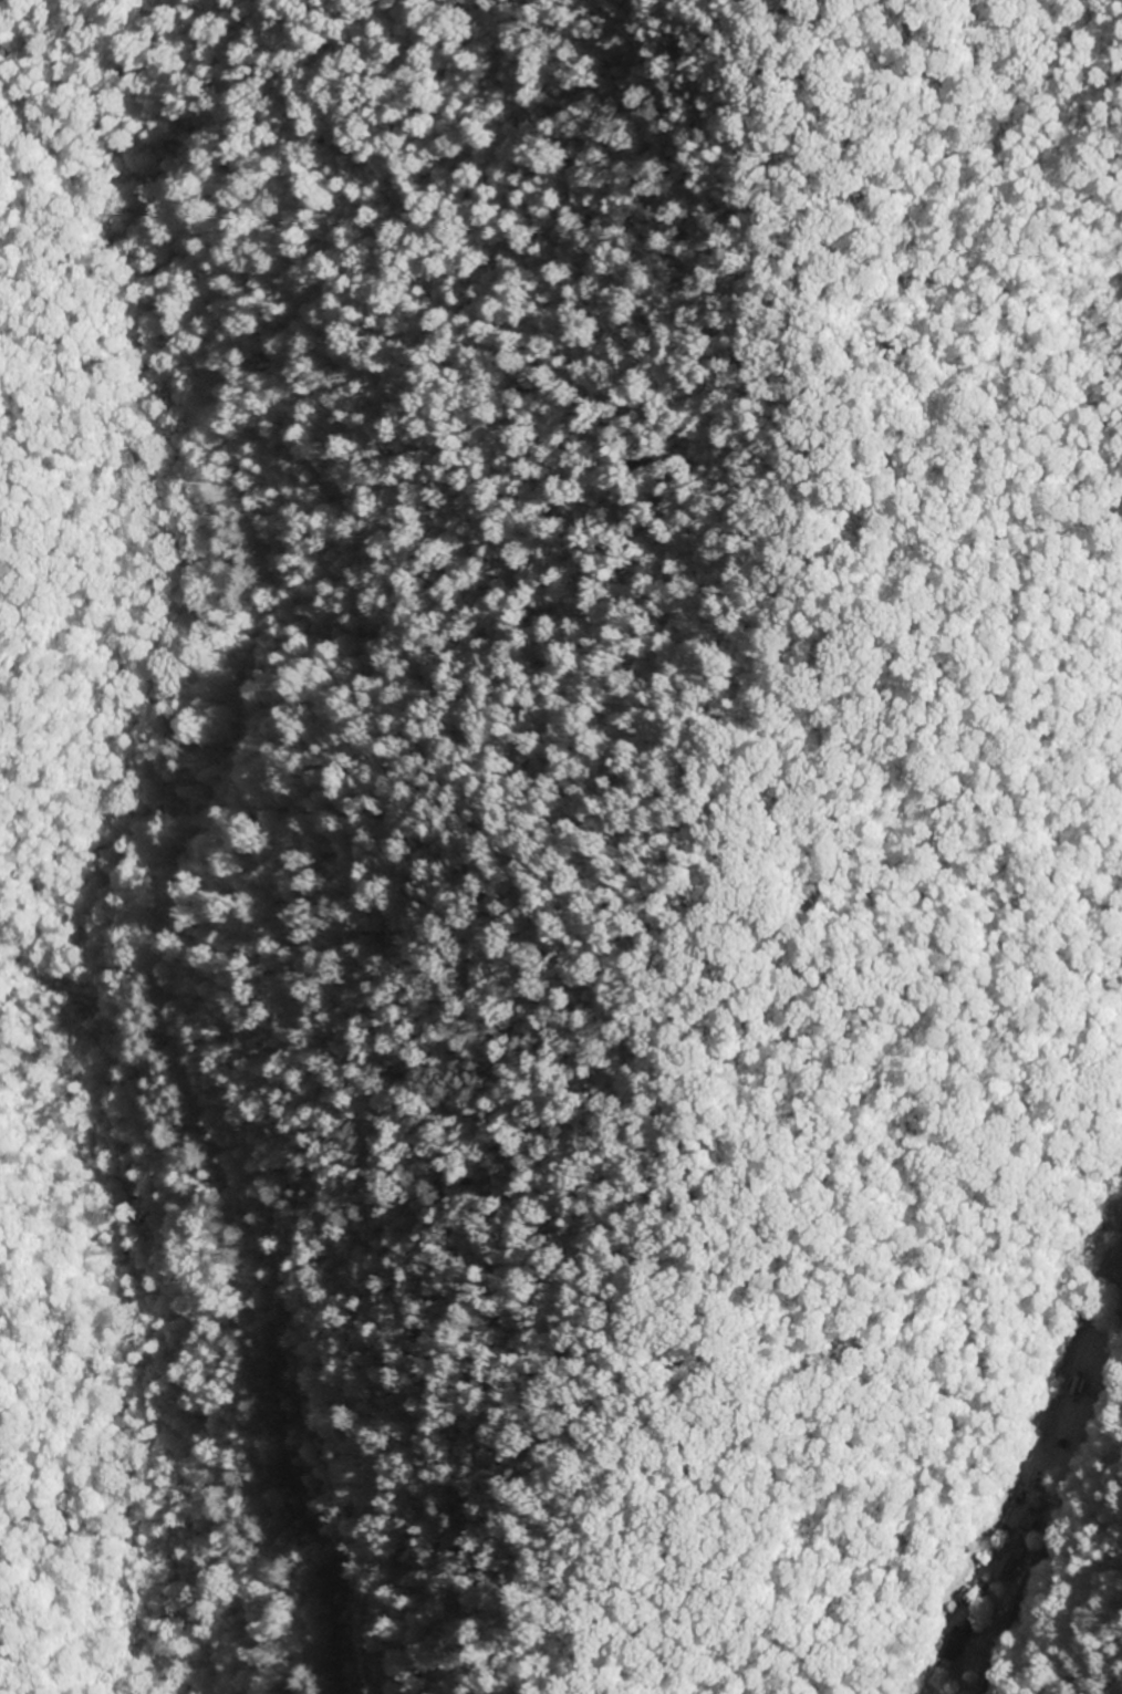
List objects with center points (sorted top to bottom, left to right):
building: (1028, 1520)
road: (1051, 1545)
building: (1010, 1557)
building: (960, 1632)

